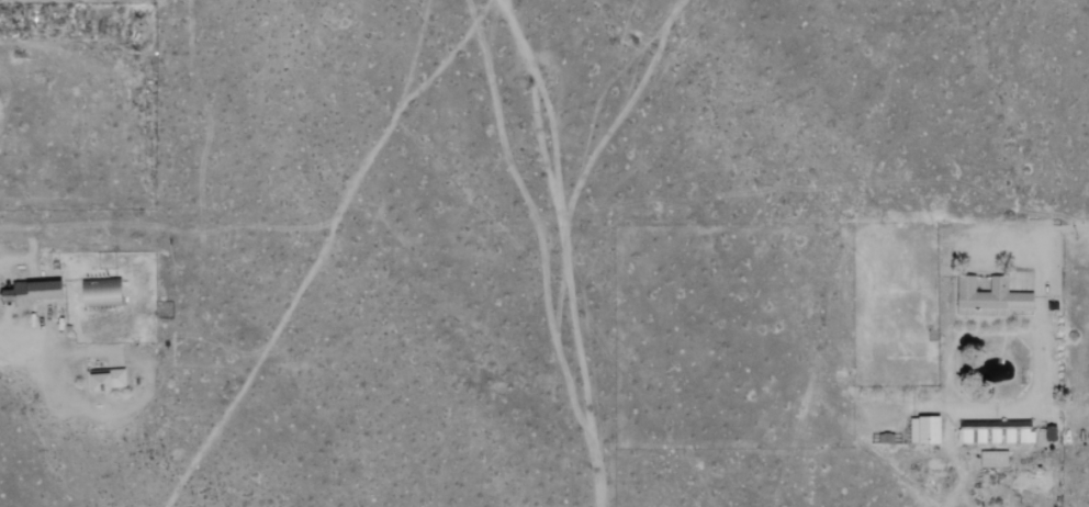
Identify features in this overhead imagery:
road: (8, 97)
road: (1080, 226)
building: (30, 292)
building: (101, 292)
building: (991, 296)
road: (8, 350)
building: (104, 379)
road: (147, 392)
building: (924, 429)
building: (970, 436)
building: (992, 459)

